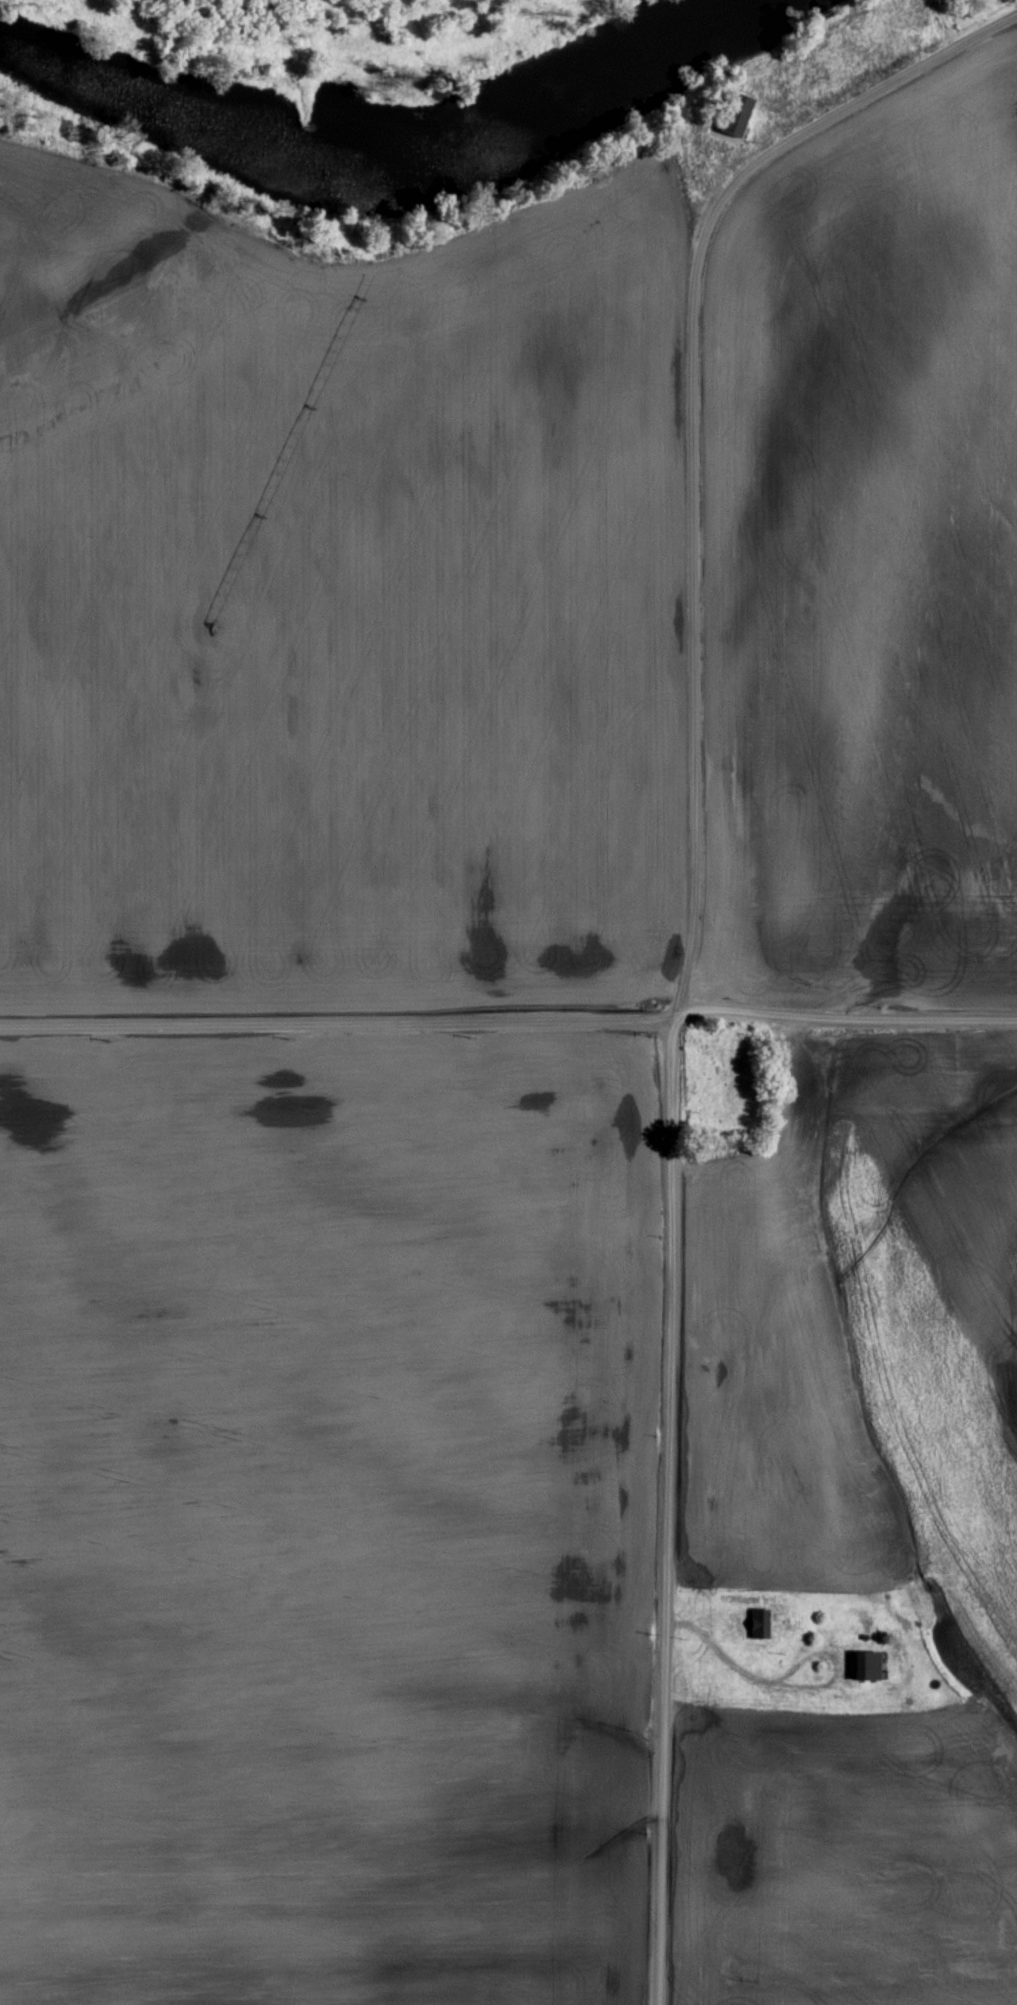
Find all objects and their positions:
park: (329, 34)
road: (701, 232)
road: (508, 1021)
road: (672, 1313)
building: (758, 1619)
road: (815, 1650)
road: (721, 1652)
building: (866, 1662)

